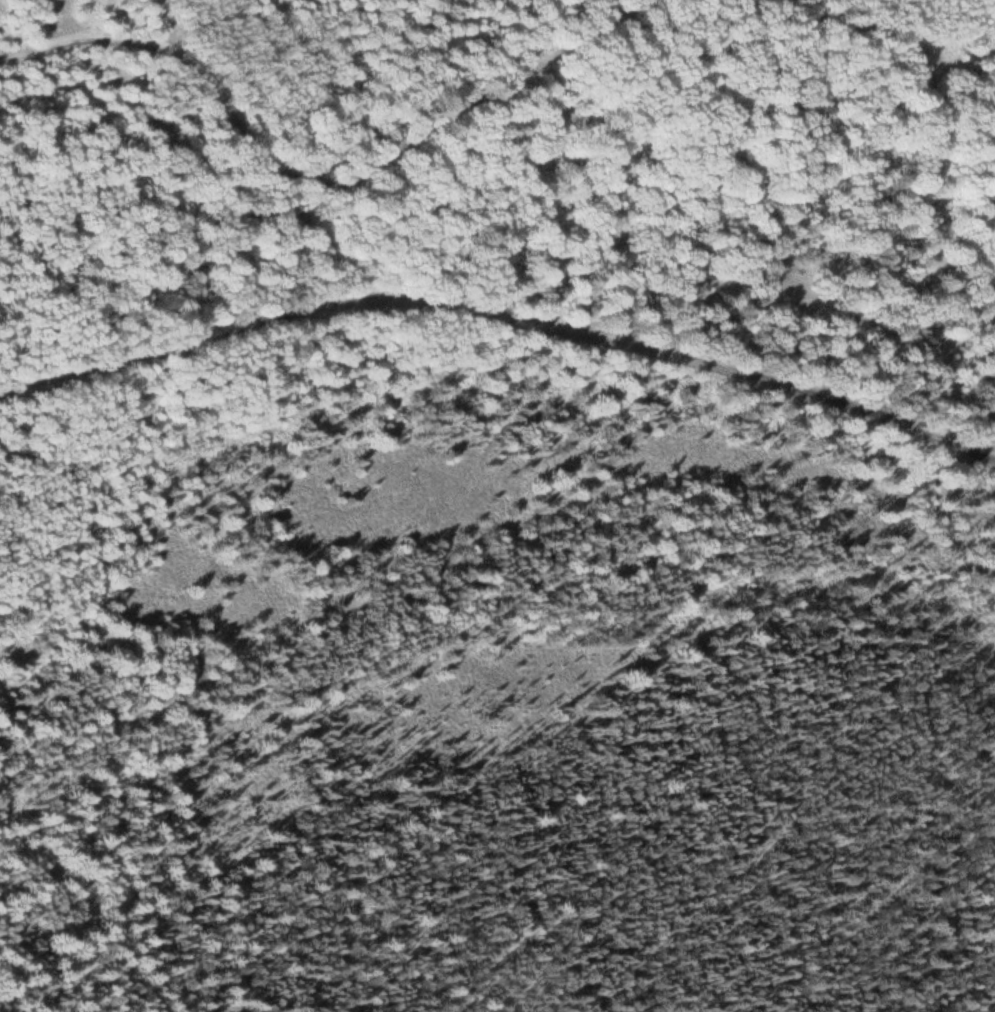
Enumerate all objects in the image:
road: (216, 54)
road: (315, 178)
road: (928, 225)
road: (323, 234)
road: (143, 295)
road: (501, 316)

